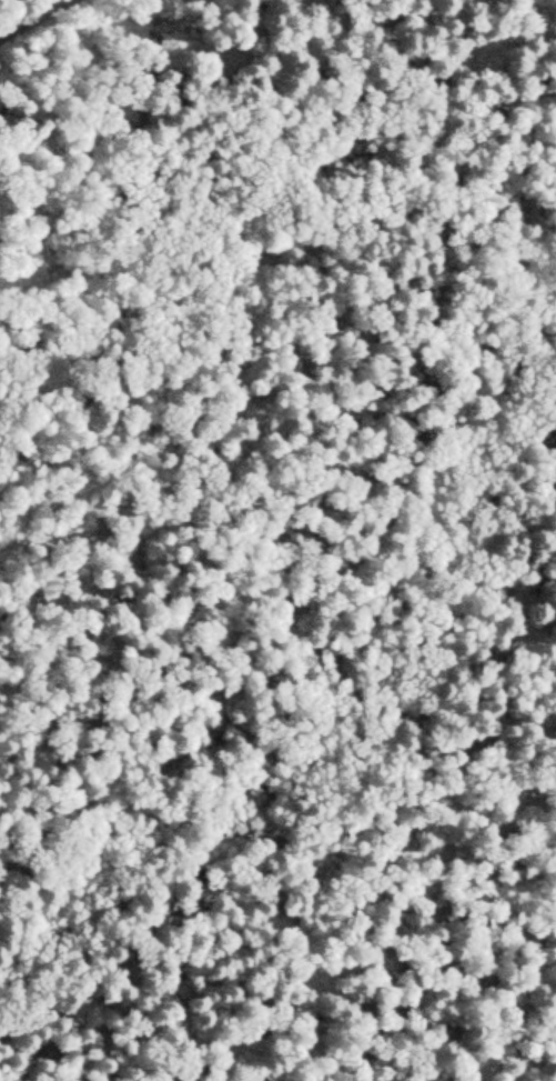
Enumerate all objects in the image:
road: (22, 12)

